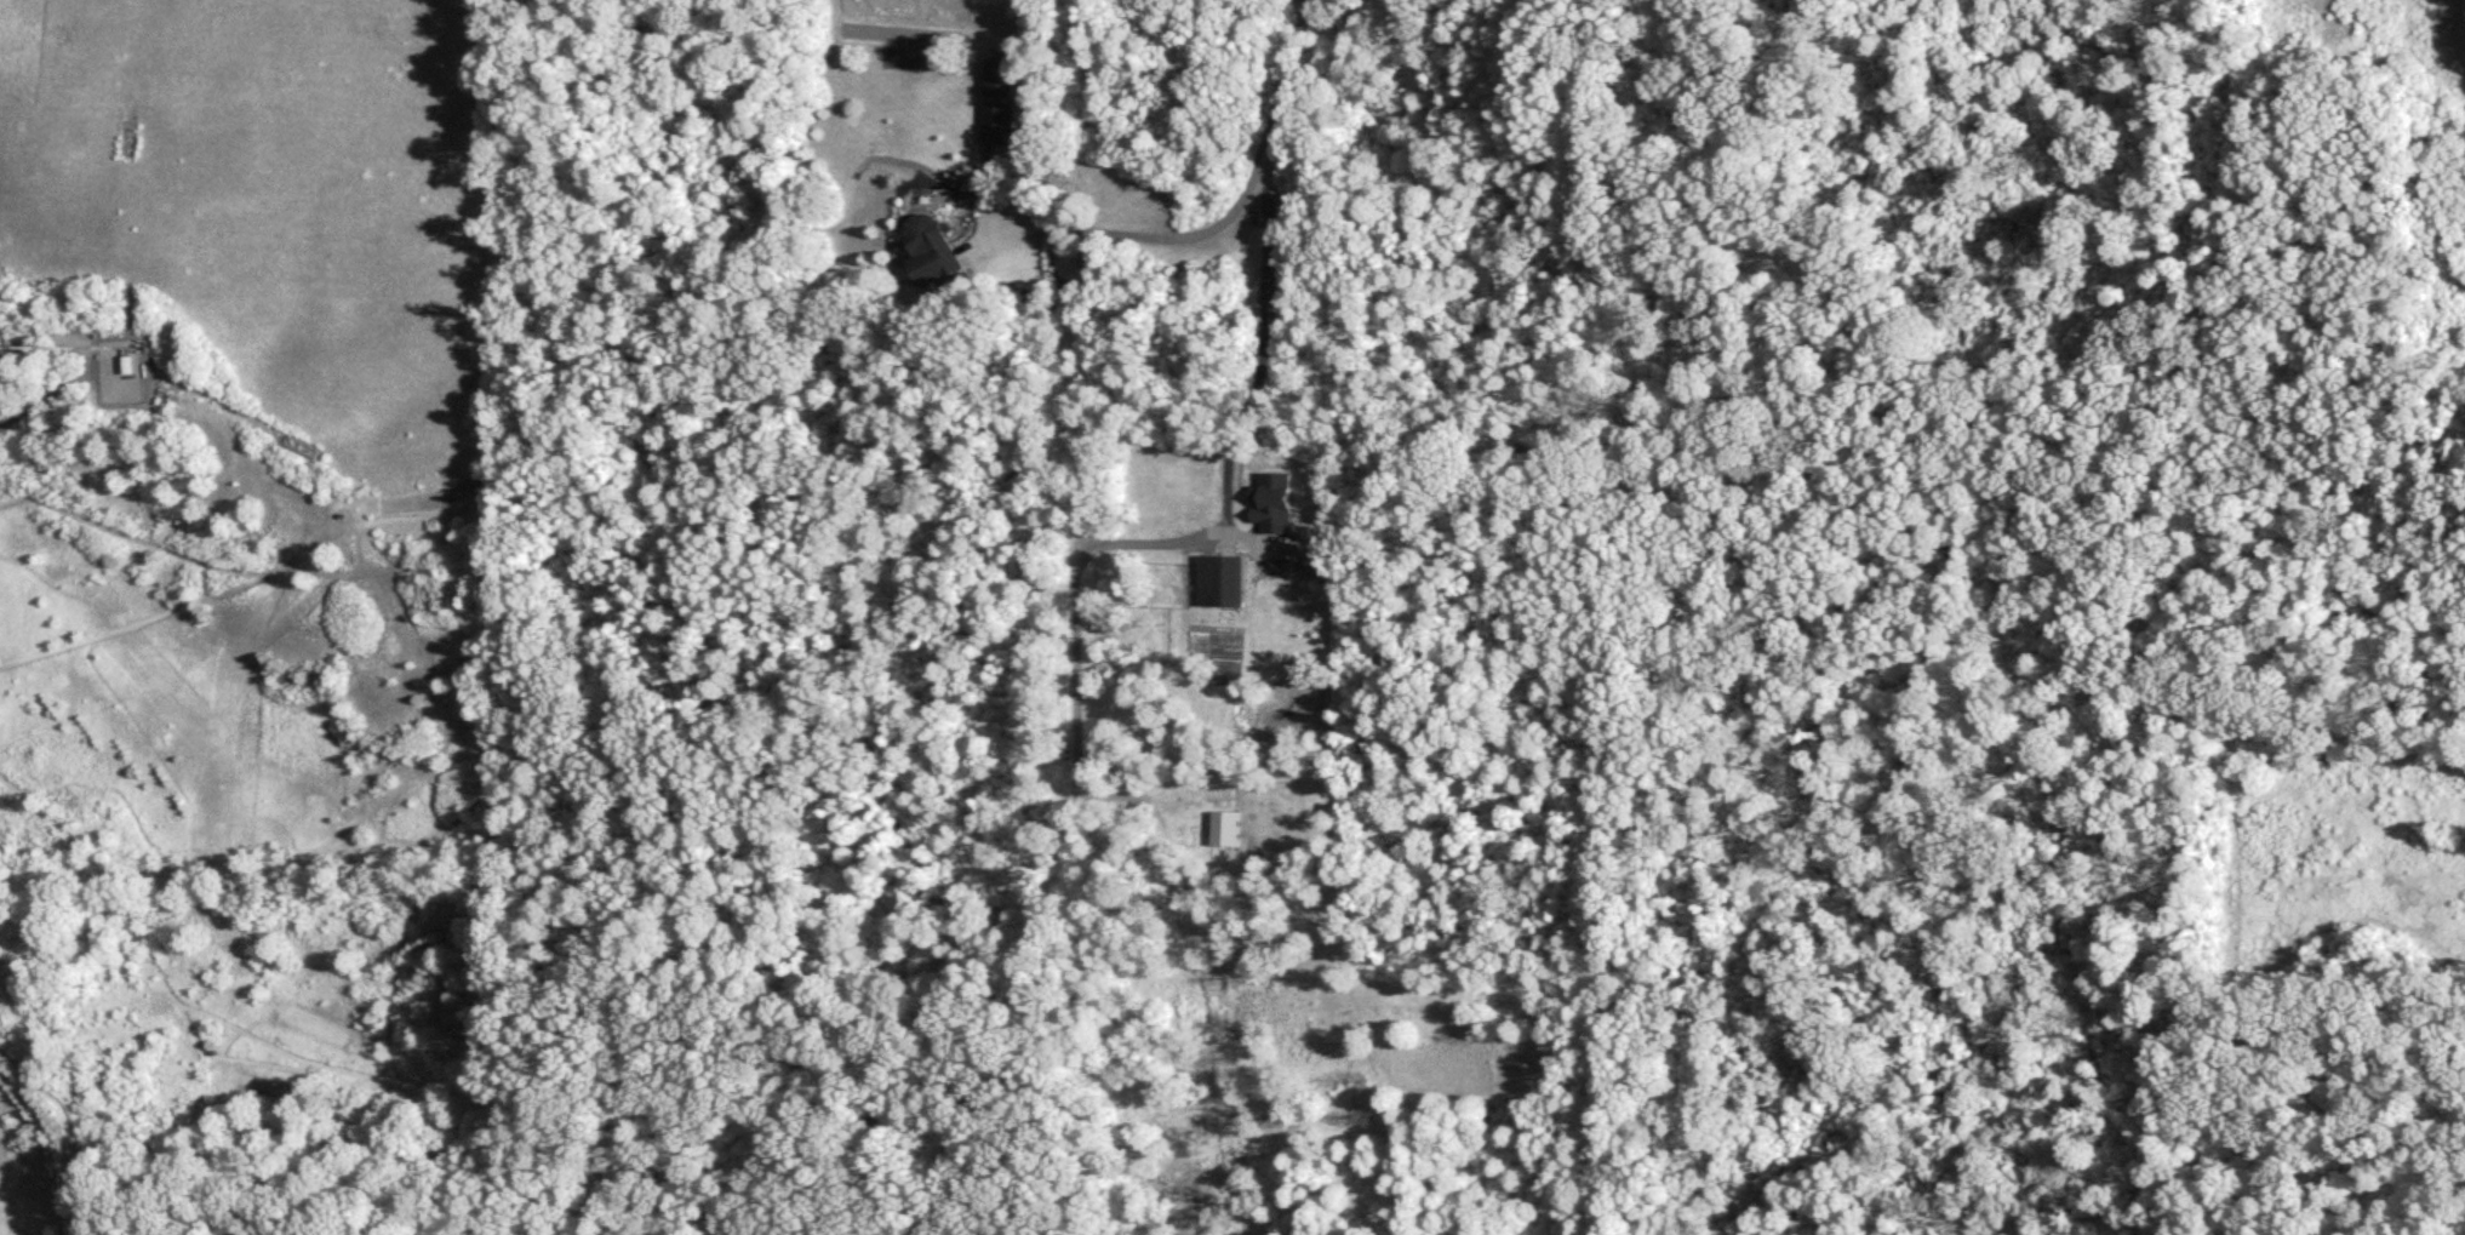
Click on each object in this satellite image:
building: (997, 113)
road: (1148, 233)
road: (1264, 252)
building: (934, 255)
road: (45, 333)
building: (126, 371)
building: (1280, 504)

